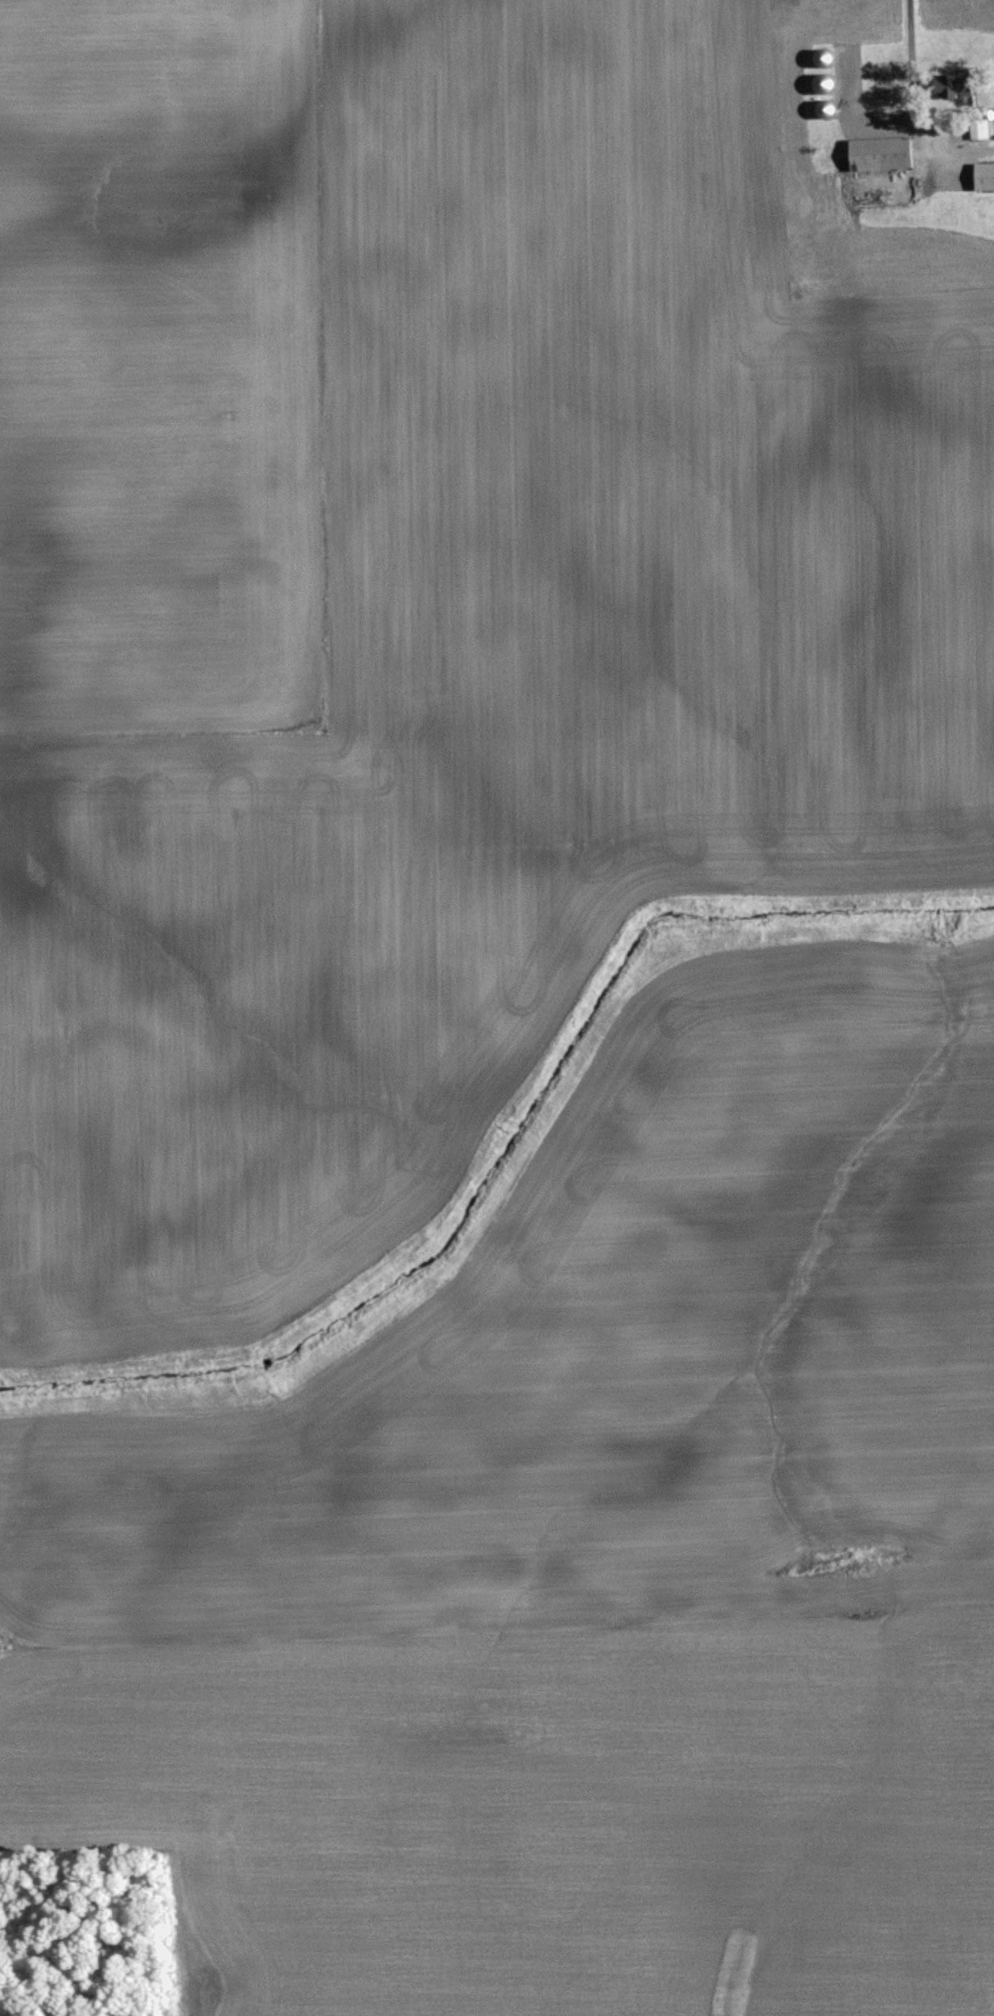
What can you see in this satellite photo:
building: (827, 57)
building: (826, 83)
building: (965, 88)
road: (916, 106)
building: (828, 109)
building: (888, 154)
building: (987, 177)

